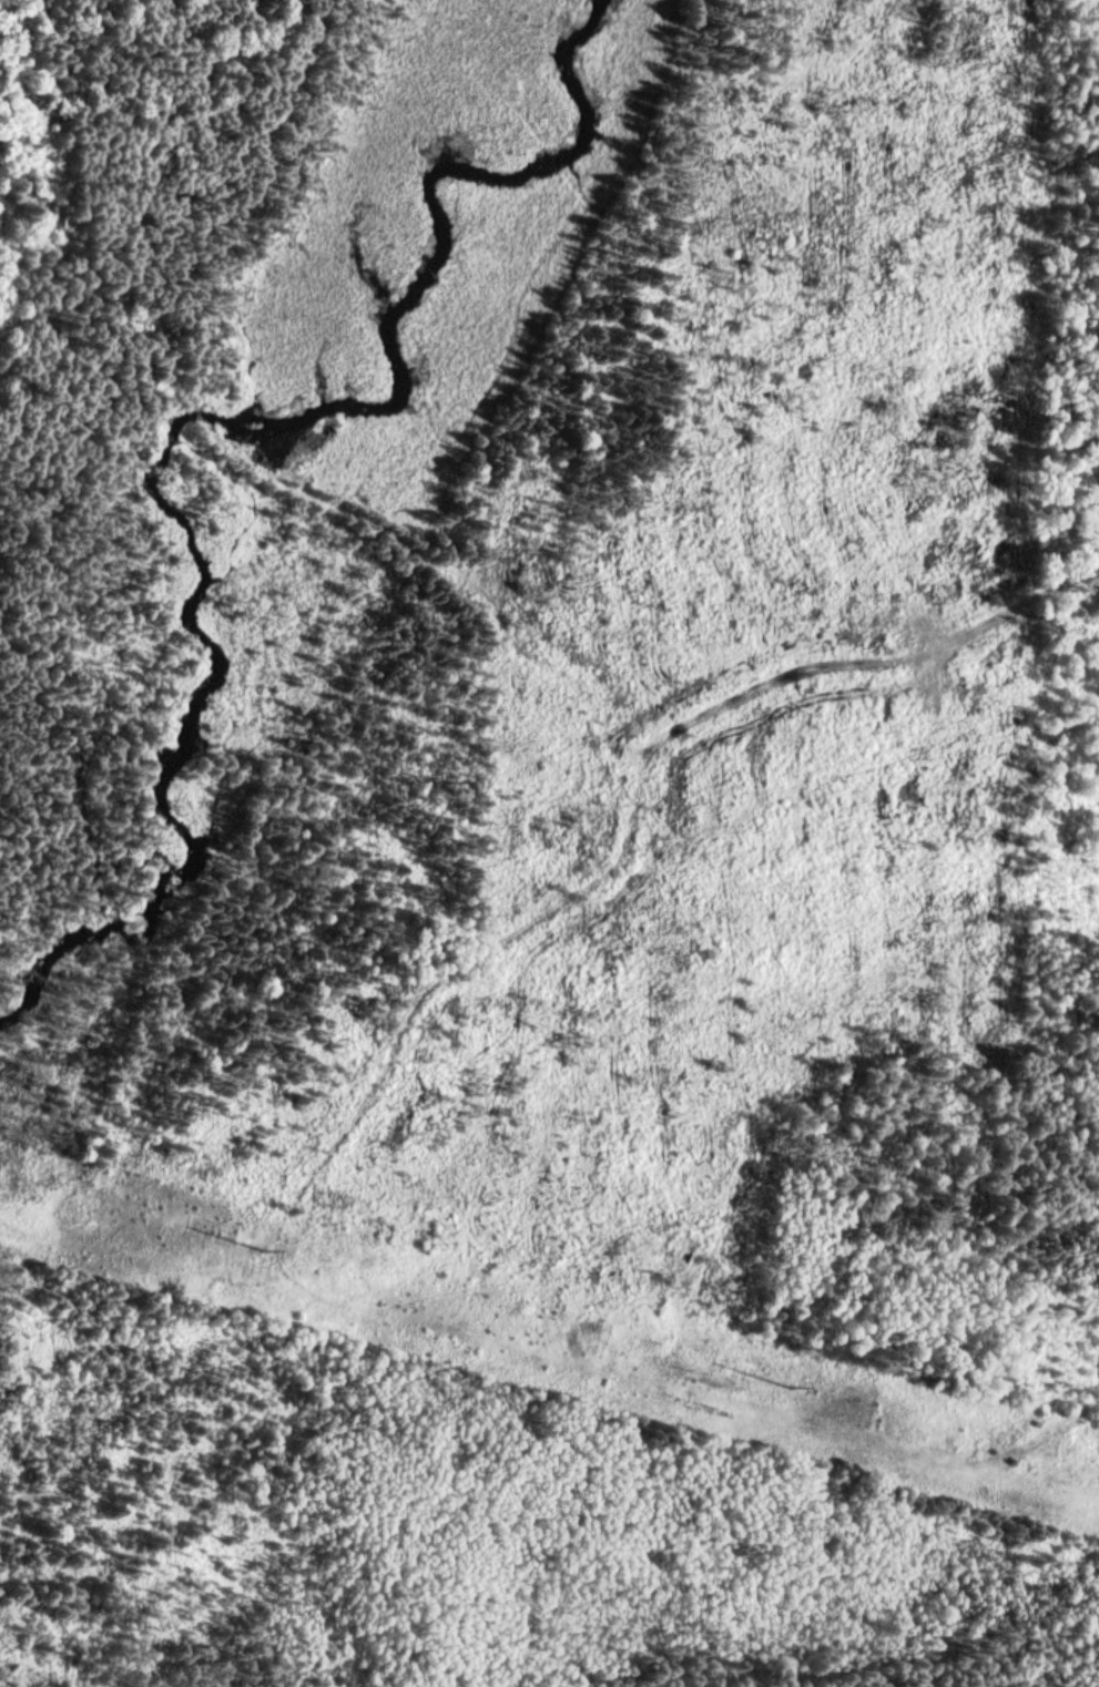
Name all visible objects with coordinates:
road: (615, 809)
power tower: (266, 1243)
power tower: (792, 1390)

